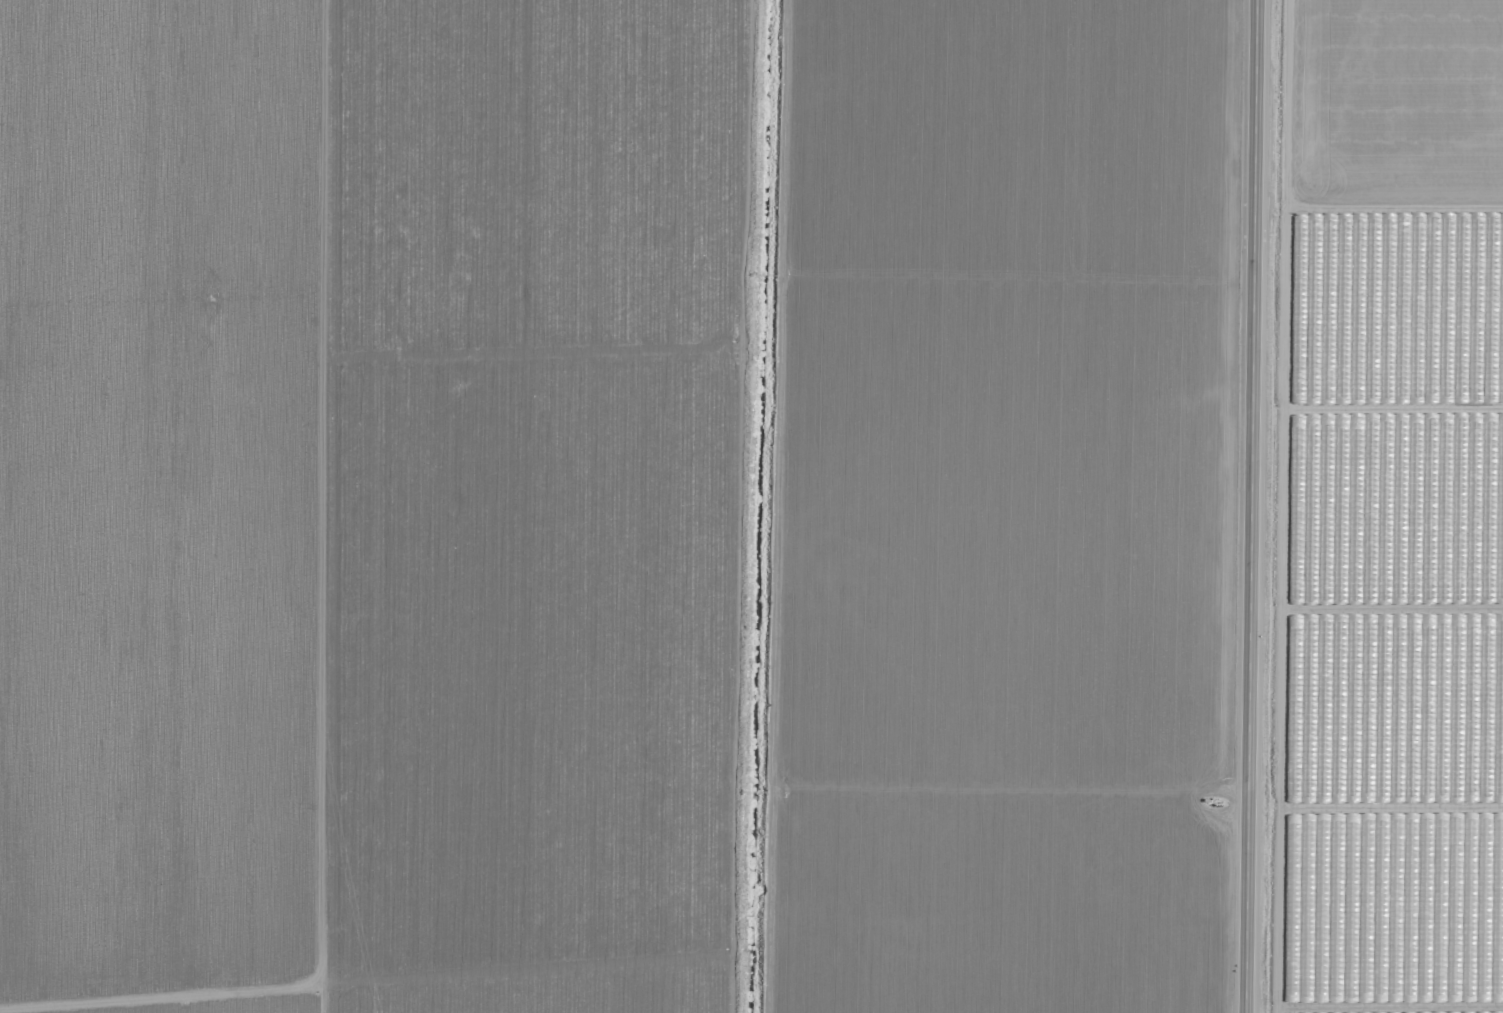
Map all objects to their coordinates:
crop: (620, 505)
road: (1250, 506)
crop: (1388, 510)

